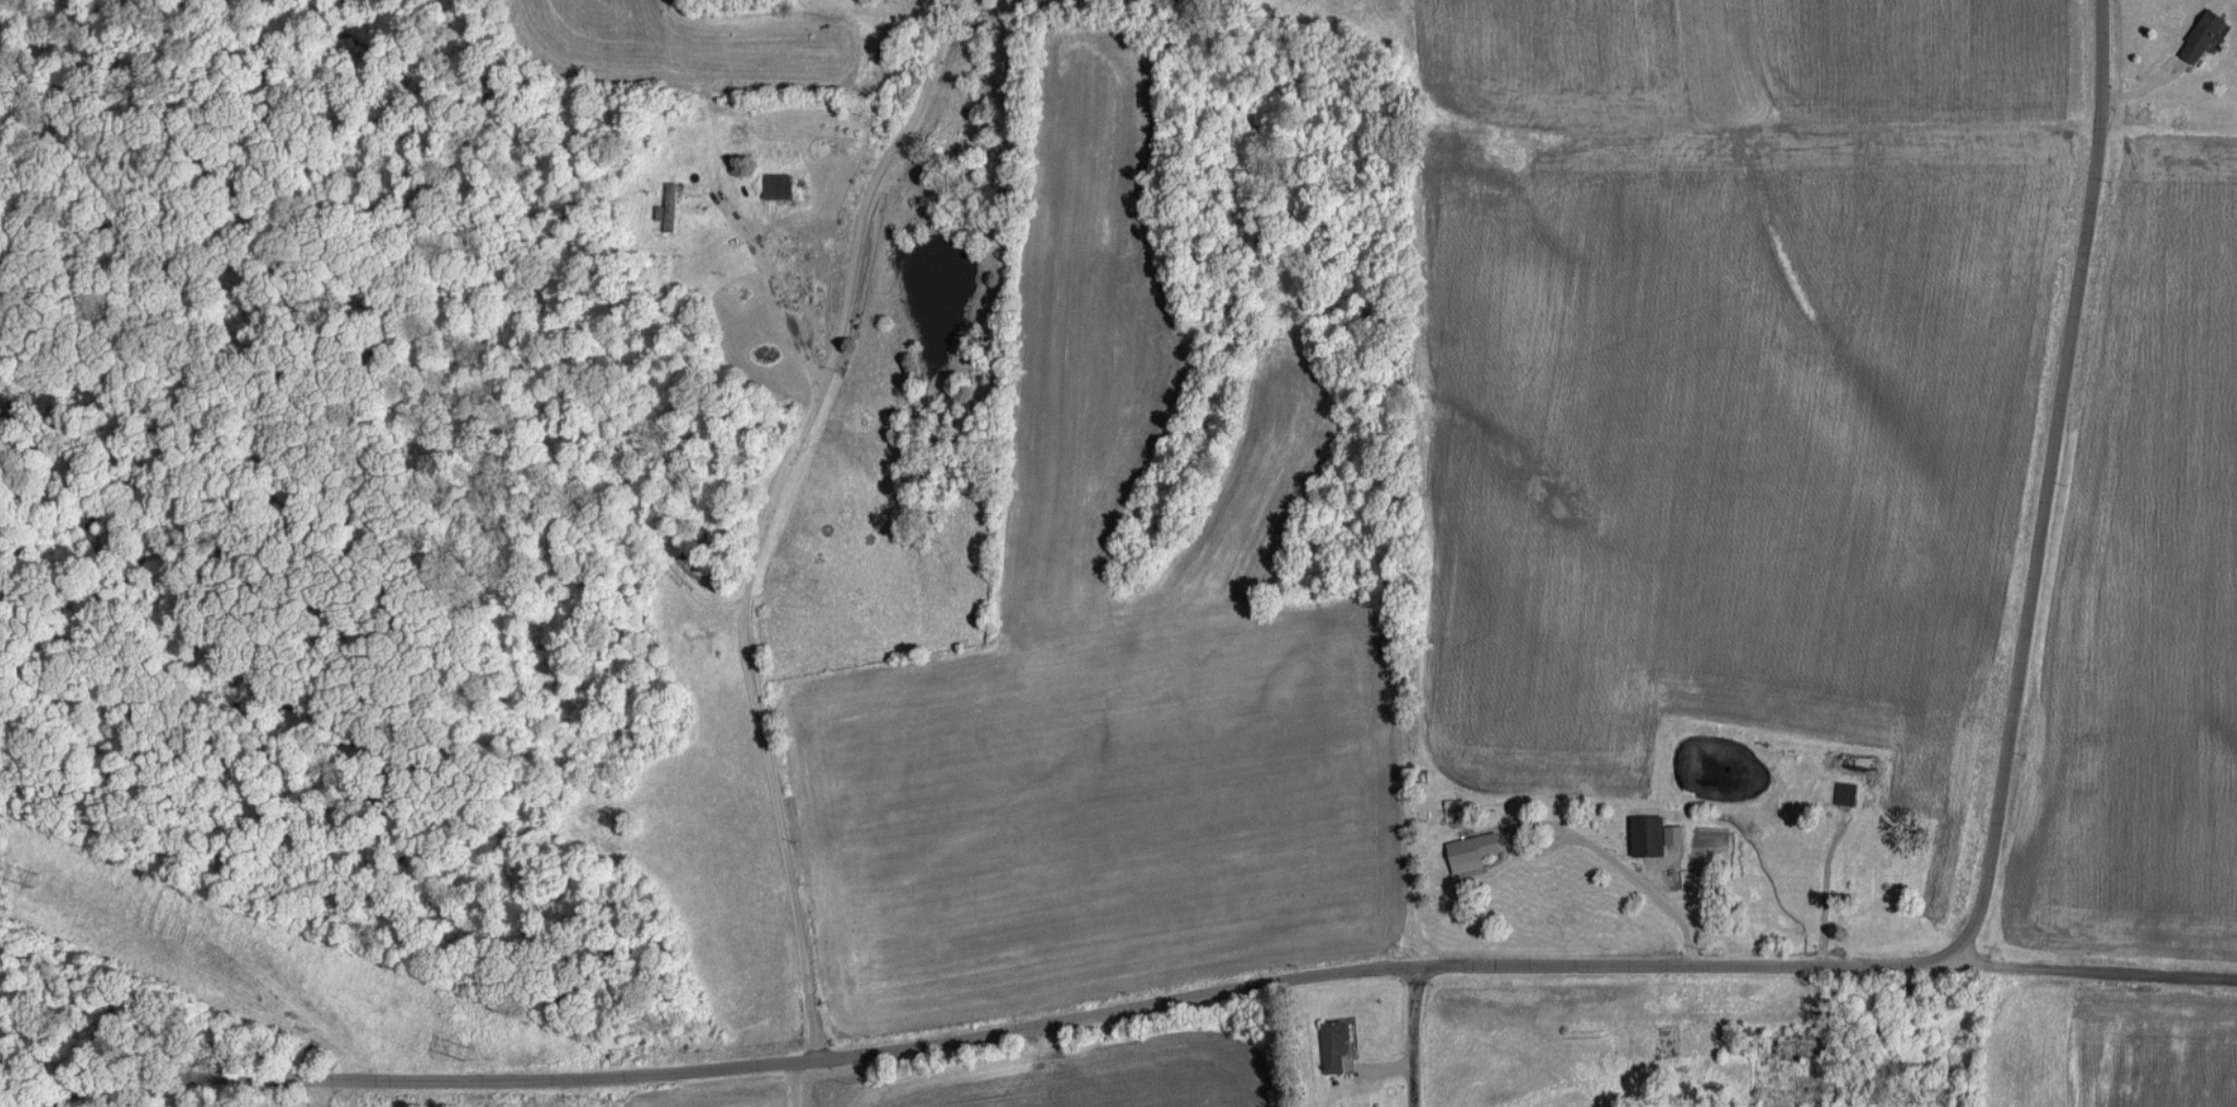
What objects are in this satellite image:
building: (2202, 34)
road: (871, 181)
building: (778, 185)
building: (669, 207)
road: (2047, 483)
road: (741, 602)
building: (1846, 793)
building: (1648, 833)
building: (1674, 833)
building: (1472, 849)
power tower: (37, 877)
road: (1644, 885)
road: (2098, 970)
road: (986, 1027)
road: (1413, 1034)
building: (1335, 1043)
power tower: (470, 1051)
road: (793, 1083)
road: (315, 1092)

